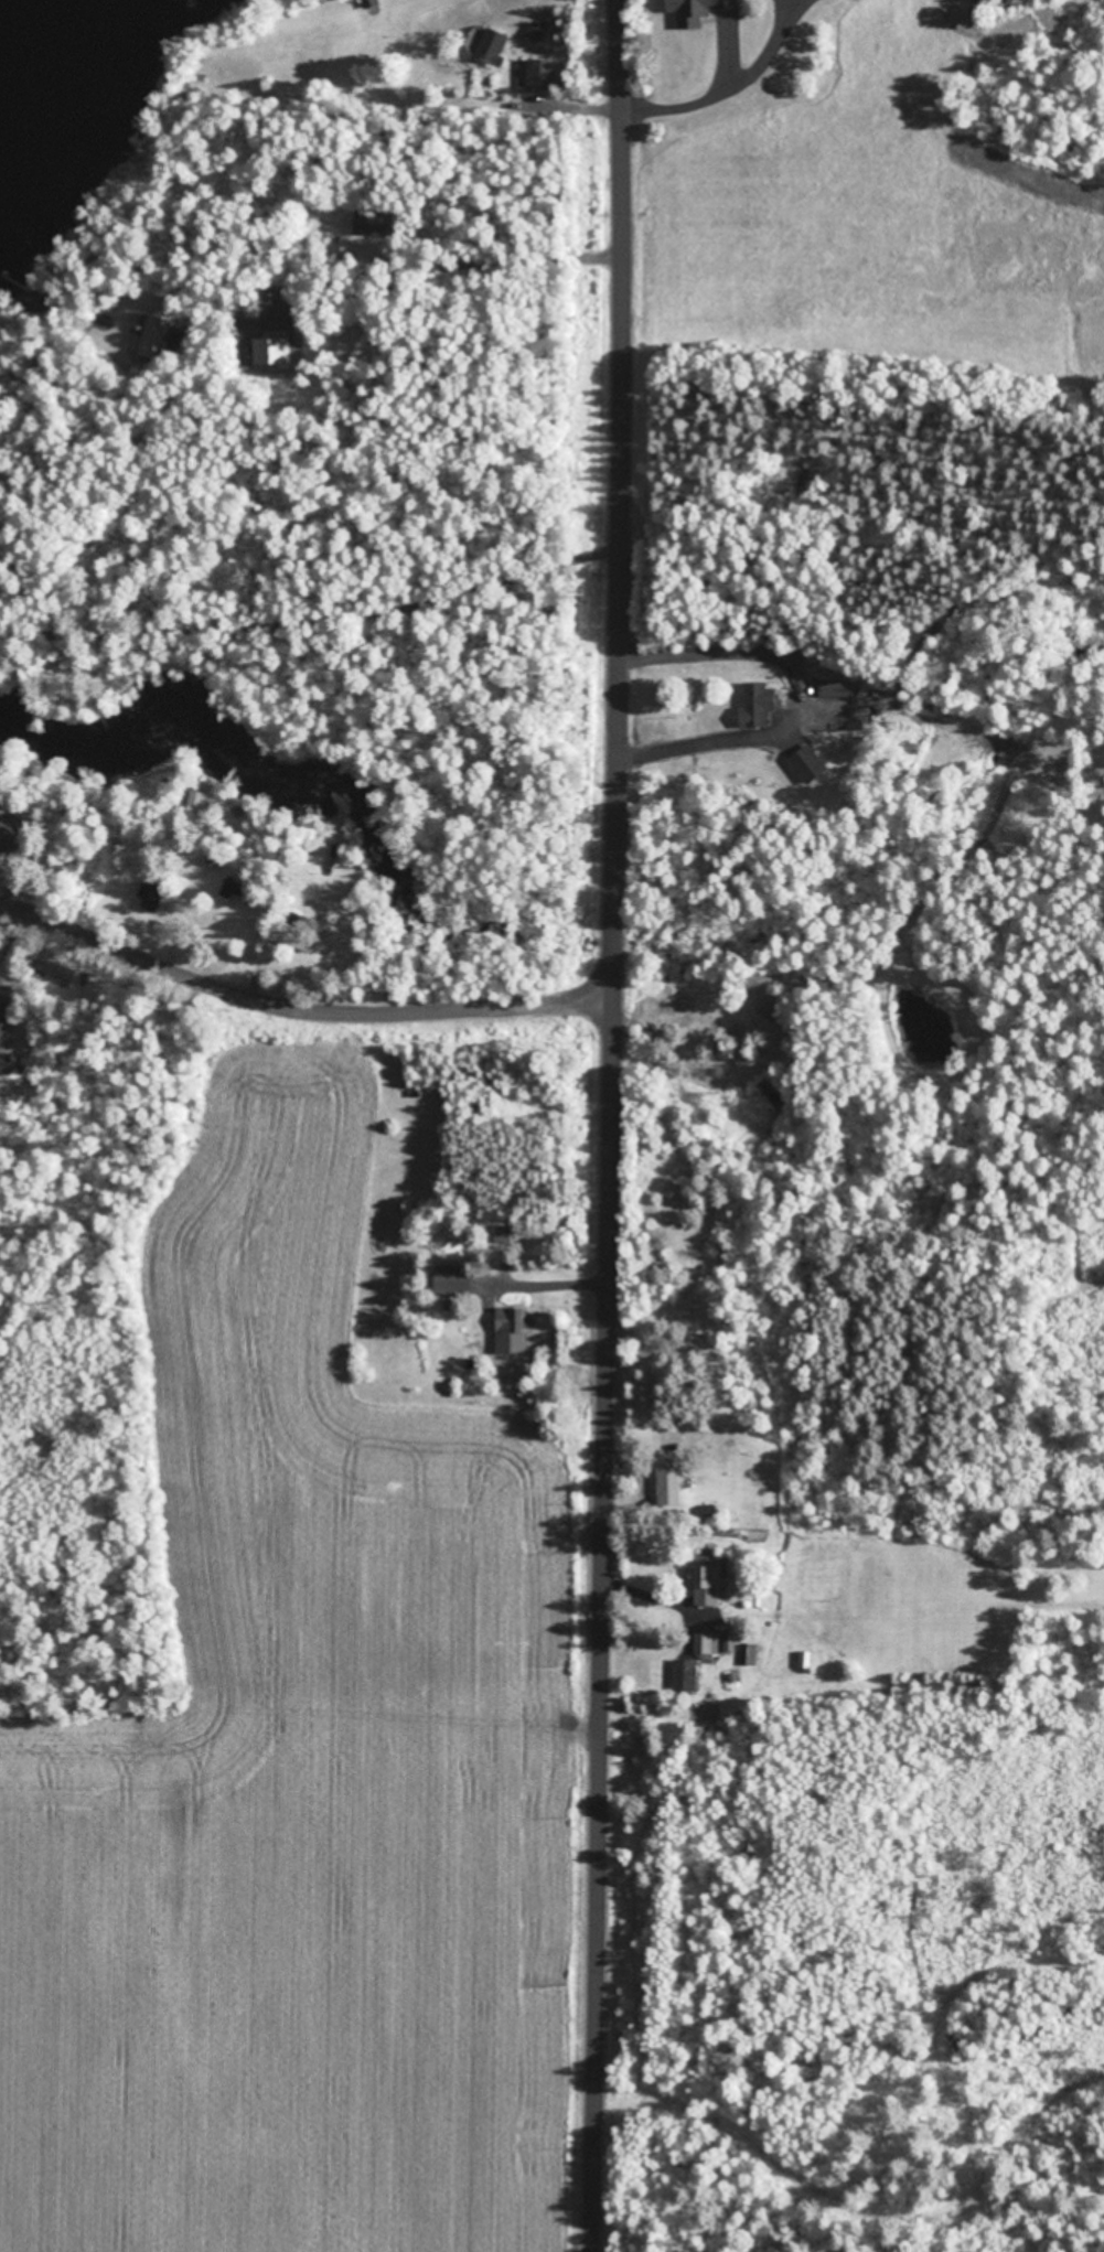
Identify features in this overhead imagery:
road: (730, 89)
road: (579, 100)
road: (599, 255)
road: (624, 276)
building: (835, 686)
building: (757, 704)
building: (808, 762)
building: (58, 970)
road: (297, 1004)
building: (3, 1025)
building: (453, 1277)
road: (608, 1401)
building: (710, 1585)

